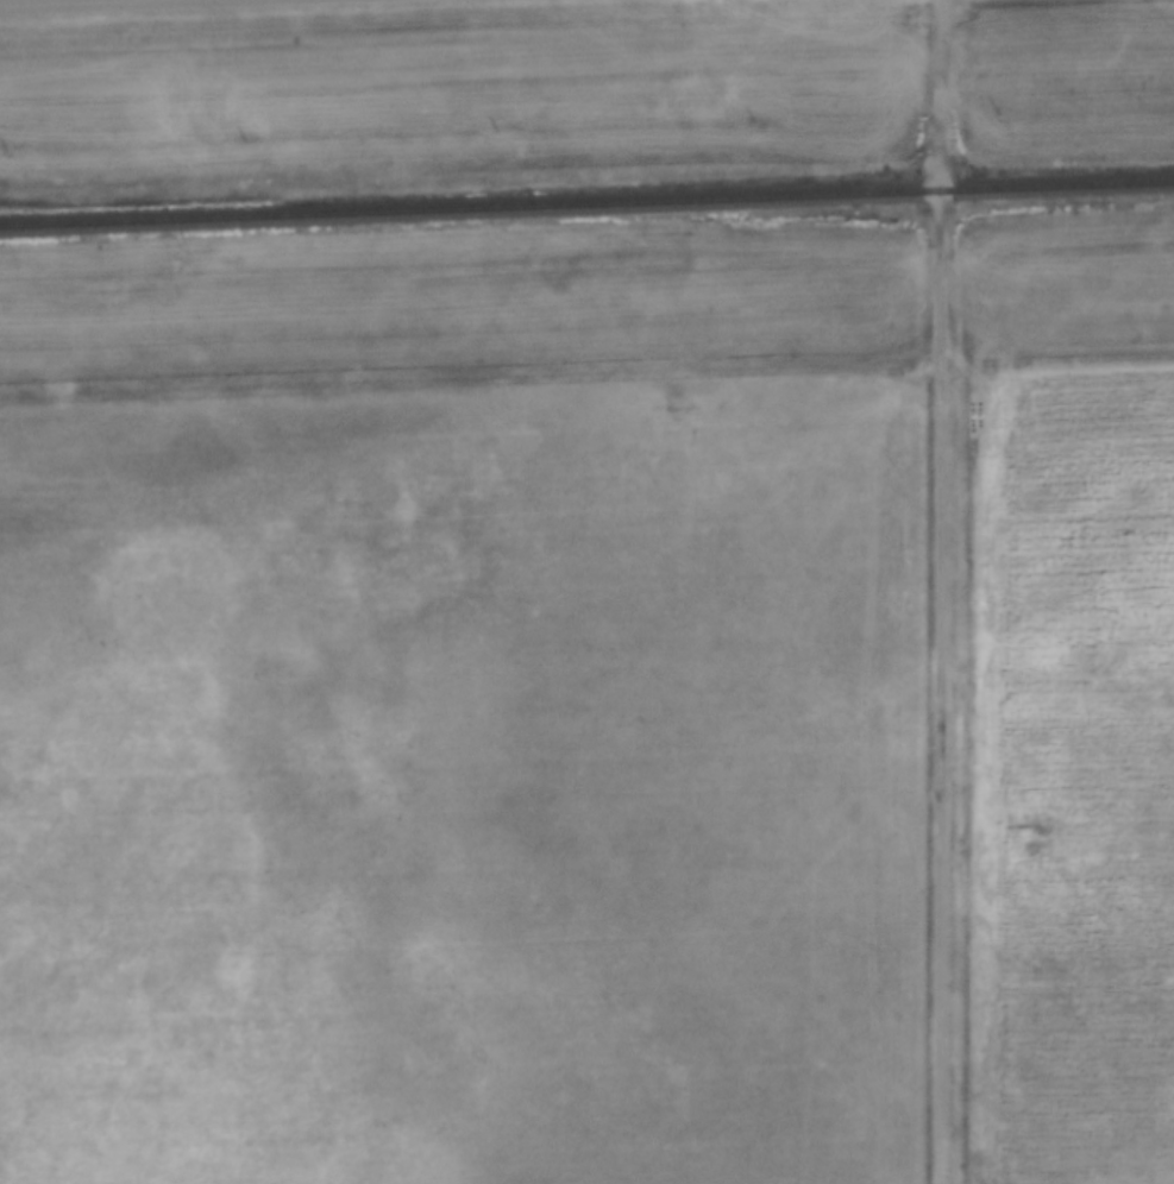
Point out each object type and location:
road: (64, 2)
railway: (586, 203)
road: (470, 344)
road: (941, 591)

